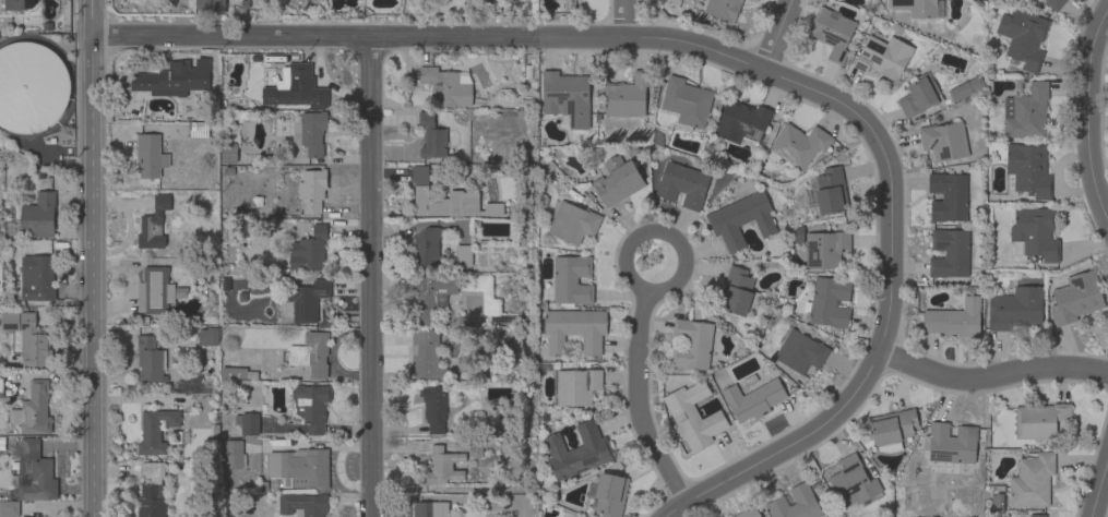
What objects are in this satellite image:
building: (753, 0)
building: (1053, 3)
building: (17, 4)
building: (210, 5)
building: (917, 7)
building: (723, 9)
road: (622, 17)
building: (831, 33)
road: (779, 35)
road: (297, 36)
building: (1024, 38)
road: (701, 55)
building: (883, 56)
building: (169, 81)
building: (448, 85)
building: (31, 86)
storage tank: (31, 86)
building: (296, 87)
building: (965, 87)
building: (627, 95)
building: (918, 95)
building: (567, 96)
building: (687, 101)
building: (1026, 111)
road: (1091, 118)
building: (741, 121)
building: (198, 129)
building: (310, 132)
building: (433, 136)
building: (944, 141)
building: (799, 144)
building: (228, 153)
building: (150, 155)
building: (1027, 169)
building: (617, 181)
building: (682, 184)
building: (312, 189)
building: (831, 191)
building: (948, 195)
building: (440, 197)
building: (491, 208)
building: (37, 215)
building: (741, 218)
building: (573, 223)
building: (153, 225)
building: (1034, 233)
building: (427, 245)
building: (309, 248)
building: (825, 248)
building: (950, 253)
building: (463, 254)
road: (93, 257)
building: (36, 277)
road: (373, 277)
building: (571, 280)
building: (156, 290)
building: (738, 291)
building: (431, 294)
building: (1075, 297)
building: (302, 301)
building: (831, 302)
building: (1015, 308)
building: (955, 320)
building: (574, 329)
building: (207, 336)
building: (31, 341)
building: (691, 344)
building: (799, 350)
building: (310, 353)
building: (427, 354)
building: (148, 359)
building: (237, 372)
road: (993, 373)
road: (863, 378)
road: (639, 384)
building: (576, 386)
building: (1, 387)
building: (752, 399)
building: (310, 407)
building: (433, 407)
building: (33, 409)
building: (693, 414)
building: (1039, 420)
building: (246, 423)
building: (893, 425)
building: (157, 429)
building: (950, 442)
building: (887, 447)
building: (475, 448)
building: (577, 450)
building: (233, 454)
building: (301, 466)
building: (443, 466)
building: (36, 472)
building: (1032, 480)
building: (851, 481)
road: (1100, 488)
building: (152, 490)
building: (607, 493)
building: (996, 503)
building: (302, 504)
building: (795, 504)
building: (9, 507)
building: (429, 508)
building: (747, 513)
building: (1037, 515)
building: (31, 516)

